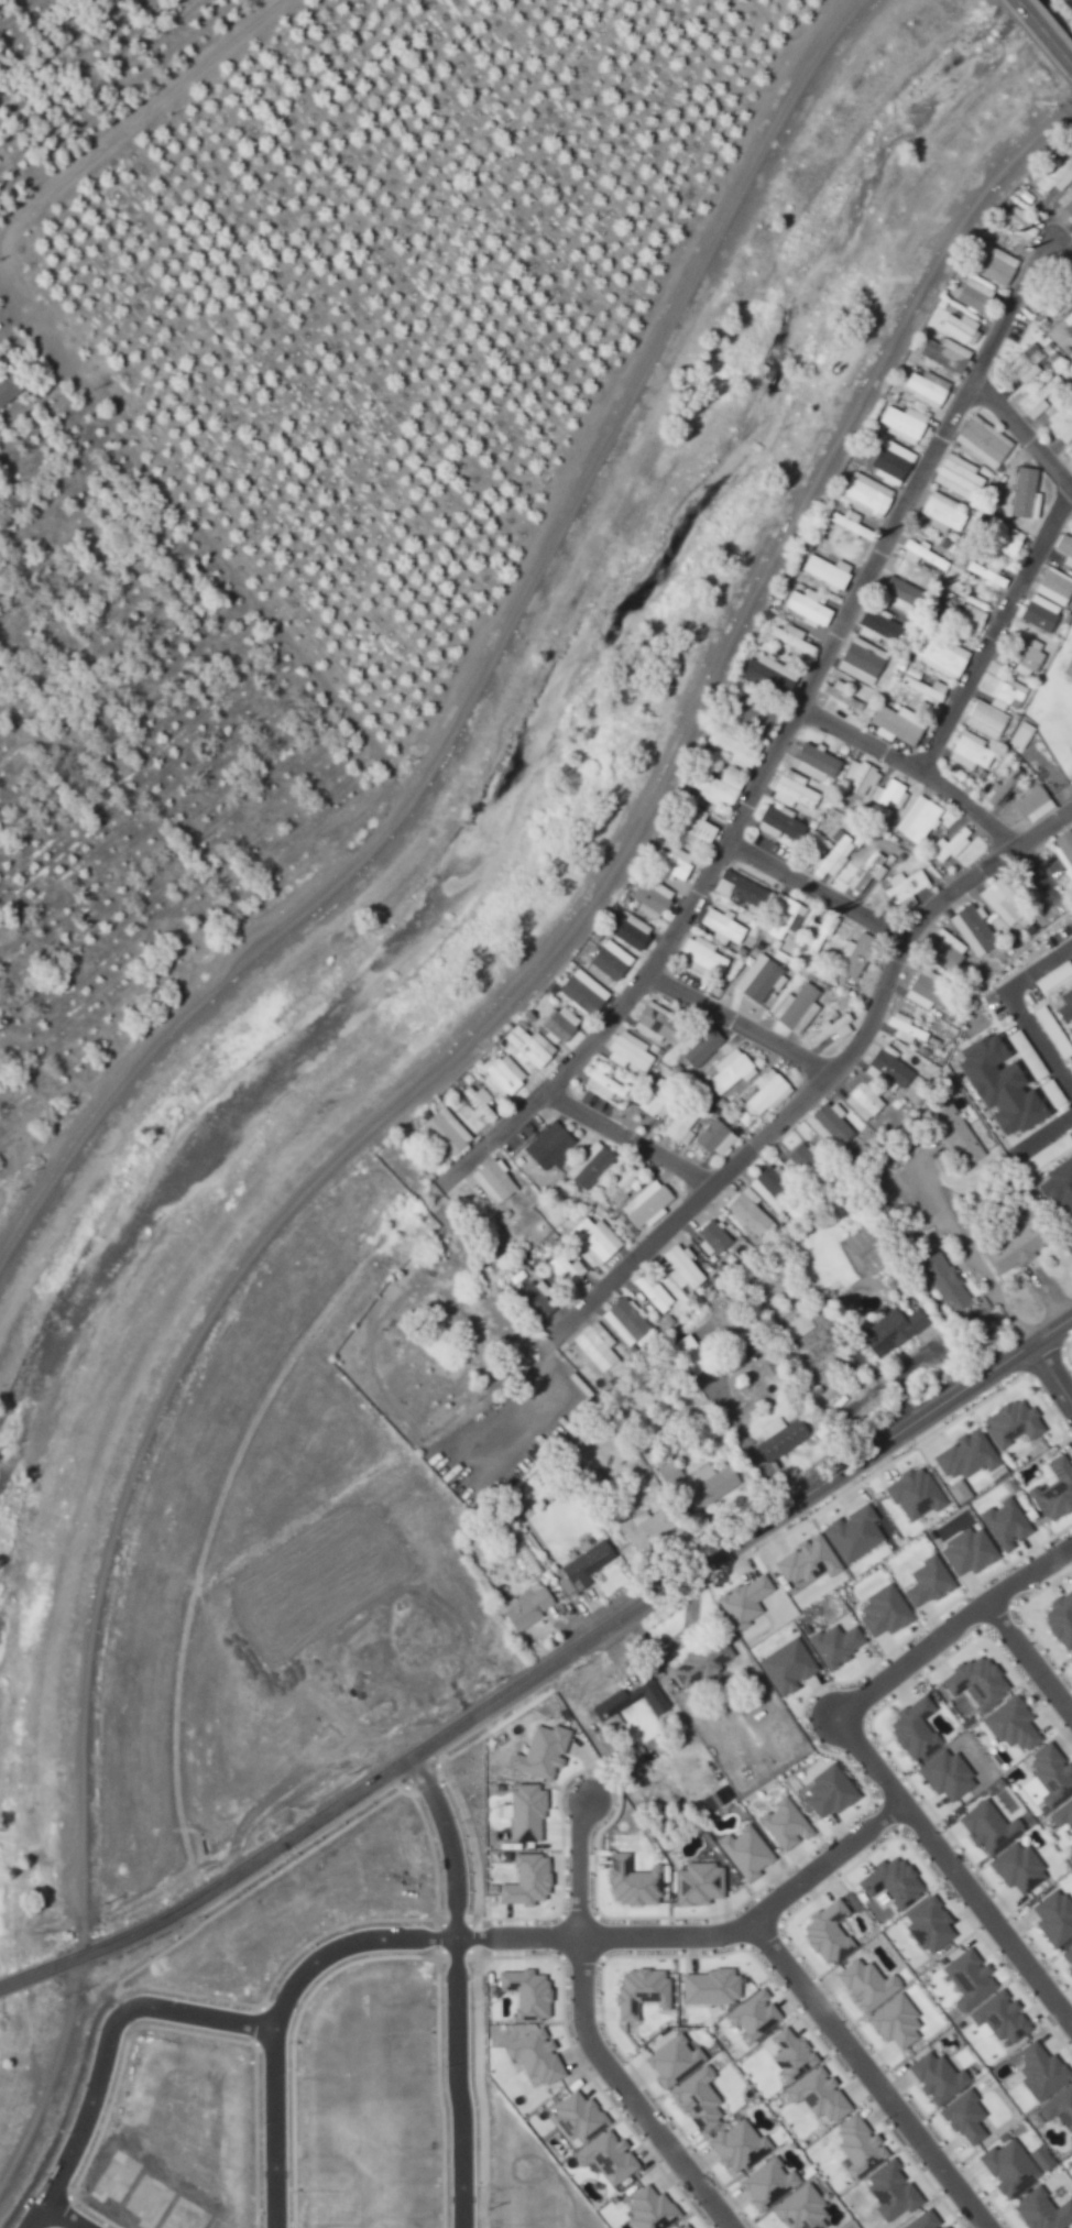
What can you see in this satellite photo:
road: (1027, 12)
road: (1055, 44)
road: (129, 111)
building: (1055, 177)
building: (1066, 200)
building: (1017, 221)
building: (996, 265)
road: (1027, 290)
building: (974, 295)
building: (1057, 296)
road: (25, 298)
building: (1068, 321)
building: (961, 327)
building: (947, 357)
building: (1025, 364)
building: (927, 387)
building: (9, 389)
building: (1040, 396)
road: (1031, 415)
building: (904, 423)
building: (1062, 423)
building: (984, 441)
building: (1070, 455)
building: (893, 461)
building: (959, 477)
building: (1026, 493)
building: (866, 494)
building: (943, 512)
building: (851, 523)
building: (1006, 539)
building: (1065, 548)
building: (828, 572)
building: (1055, 587)
building: (900, 594)
building: (808, 608)
building: (1041, 613)
building: (965, 618)
building: (877, 626)
road: (1002, 629)
building: (795, 640)
building: (1027, 655)
building: (941, 656)
building: (862, 660)
road: (482, 667)
building: (768, 673)
building: (926, 689)
building: (1008, 692)
building: (842, 702)
building: (986, 720)
building: (898, 724)
building: (741, 734)
building: (1021, 735)
building: (971, 751)
road: (929, 752)
building: (814, 763)
building: (860, 776)
building: (1000, 787)
building: (717, 788)
building: (794, 790)
building: (888, 797)
building: (1033, 804)
building: (919, 819)
building: (691, 822)
building: (778, 823)
building: (950, 844)
building: (1064, 850)
building: (833, 854)
building: (672, 862)
building: (867, 874)
road: (724, 881)
road: (841, 884)
building: (905, 886)
building: (740, 888)
building: (652, 898)
building: (1004, 903)
building: (784, 917)
building: (723, 927)
building: (631, 930)
building: (974, 930)
building: (818, 932)
building: (945, 950)
building: (857, 953)
building: (703, 954)
building: (609, 963)
building: (762, 979)
building: (929, 990)
building: (583, 992)
building: (796, 1005)
road: (754, 1006)
building: (1065, 1006)
road: (1018, 1007)
building: (657, 1023)
building: (559, 1025)
building: (833, 1028)
building: (905, 1028)
building: (1071, 1030)
building: (700, 1045)
building: (529, 1047)
building: (628, 1051)
building: (889, 1068)
building: (731, 1071)
building: (504, 1074)
building: (603, 1083)
road: (813, 1086)
road: (409, 1088)
building: (1003, 1088)
building: (768, 1092)
building: (658, 1099)
building: (480, 1102)
building: (863, 1102)
road: (656, 1120)
building: (682, 1123)
building: (831, 1125)
building: (447, 1132)
building: (955, 1133)
road: (1048, 1133)
building: (715, 1137)
building: (548, 1145)
building: (805, 1158)
building: (590, 1165)
building: (624, 1179)
building: (494, 1181)
building: (770, 1189)
building: (1061, 1197)
building: (648, 1204)
building: (750, 1213)
building: (710, 1236)
building: (595, 1239)
building: (1013, 1248)
road: (970, 1252)
building: (678, 1267)
building: (564, 1271)
building: (944, 1282)
building: (650, 1293)
building: (535, 1297)
building: (623, 1321)
building: (890, 1328)
building: (594, 1345)
road: (1064, 1353)
building: (688, 1355)
road: (1040, 1361)
road: (1050, 1375)
building: (1008, 1423)
building: (777, 1438)
building: (963, 1455)
road: (897, 1456)
building: (703, 1485)
building: (1052, 1489)
building: (954, 1490)
building: (912, 1494)
building: (1002, 1523)
building: (643, 1527)
building: (850, 1533)
building: (964, 1551)
building: (805, 1561)
building: (583, 1564)
building: (923, 1582)
building: (742, 1601)
building: (523, 1608)
road: (969, 1610)
building: (879, 1612)
road: (994, 1614)
building: (1059, 1619)
road: (1022, 1620)
road: (951, 1627)
road: (570, 1642)
building: (832, 1645)
road: (1028, 1659)
building: (1070, 1660)
building: (699, 1661)
building: (784, 1667)
road: (855, 1675)
building: (973, 1681)
building: (624, 1707)
building: (1008, 1724)
building: (910, 1729)
road: (878, 1744)
building: (943, 1776)
building: (1048, 1776)
road: (891, 1789)
building: (825, 1791)
road: (888, 1812)
building: (1061, 1814)
building: (783, 1824)
building: (985, 1827)
building: (743, 1852)
building: (1014, 1868)
road: (954, 1874)
building: (522, 1881)
building: (630, 1881)
building: (888, 1882)
building: (696, 1883)
road: (961, 1915)
building: (1051, 1918)
building: (926, 1925)
building: (823, 1933)
road: (699, 1937)
road: (342, 1953)
building: (1066, 1957)
road: (31, 1968)
building: (965, 1979)
road: (453, 1985)
building: (863, 1985)
building: (709, 1986)
building: (638, 1992)
building: (751, 2016)
building: (997, 2018)
building: (893, 2022)
road: (584, 2039)
road: (102, 2052)
building: (786, 2054)
building: (670, 2061)
building: (1037, 2072)
road: (866, 2076)
building: (932, 2077)
building: (816, 2096)
building: (693, 2099)
building: (1058, 2109)
building: (573, 2117)
building: (961, 2118)
road: (270, 2129)
building: (856, 2147)
building: (1037, 2158)
building: (1005, 2169)
building: (888, 2192)
building: (1039, 2210)
road: (57, 2217)
building: (921, 2220)
building: (679, 2225)

